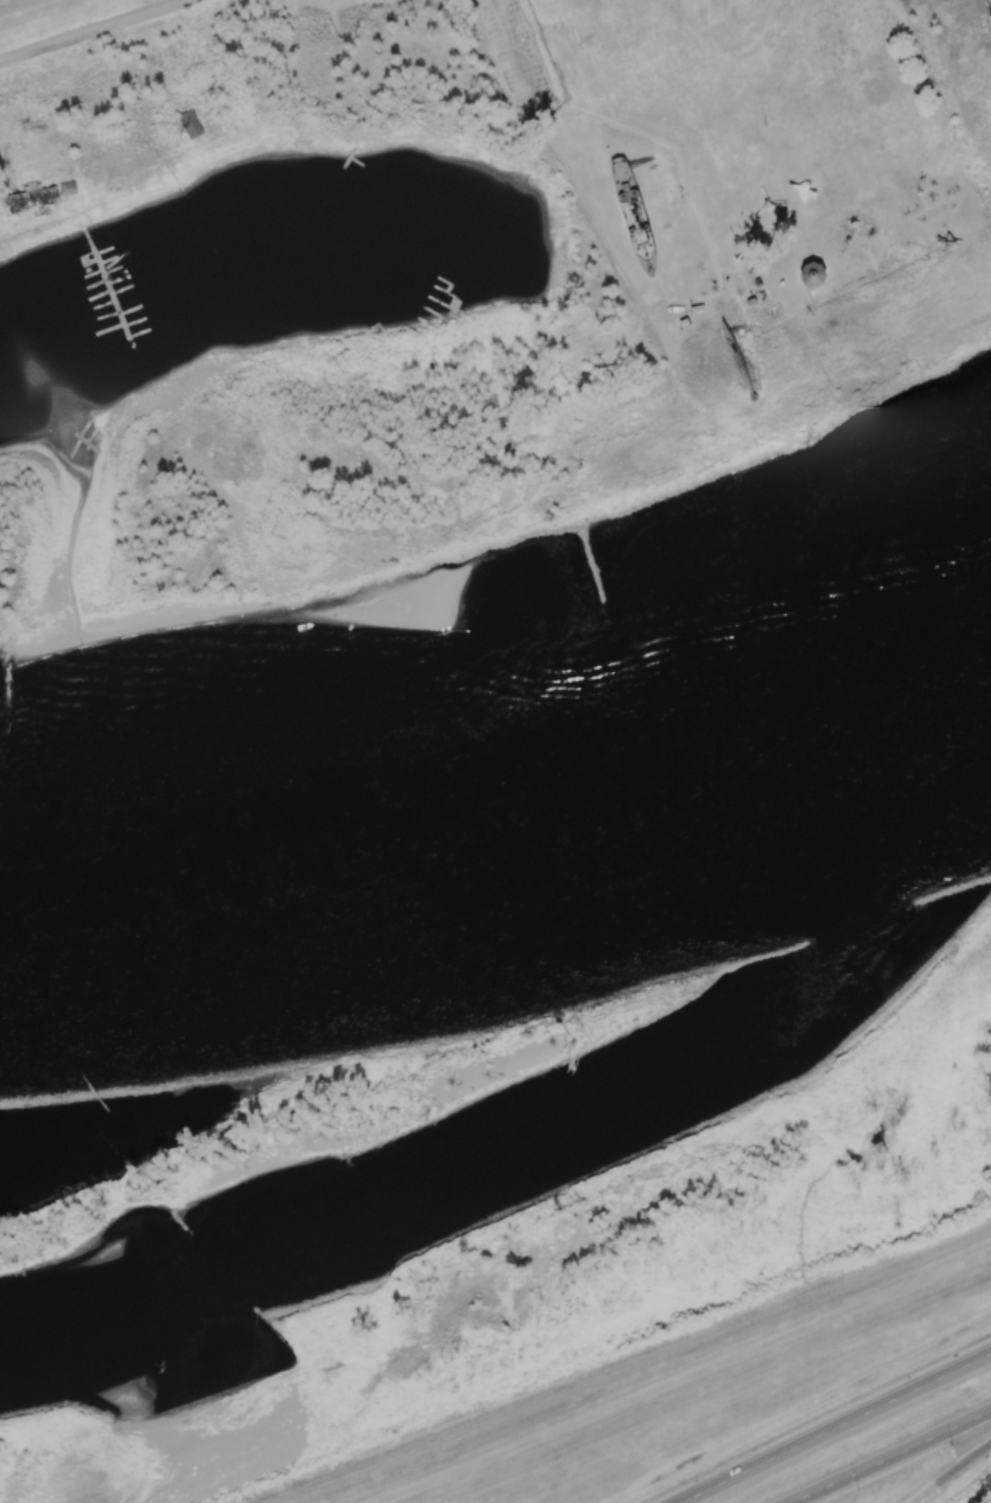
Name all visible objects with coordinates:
building: (584, 23)
road: (541, 26)
road: (91, 30)
parking lot: (371, 39)
road: (518, 57)
parking lot: (522, 63)
road: (956, 80)
road: (602, 82)
building: (190, 124)
road: (676, 151)
road: (650, 157)
parking lot: (123, 160)
road: (929, 190)
building: (28, 199)
road: (937, 204)
road: (858, 229)
road: (978, 229)
road: (873, 261)
road: (897, 267)
building: (817, 274)
park: (464, 284)
road: (739, 301)
road: (814, 315)
road: (741, 328)
road: (817, 354)
river: (505, 813)
river: (546, 1139)
road: (681, 1379)
road: (834, 1427)
road: (892, 1458)

